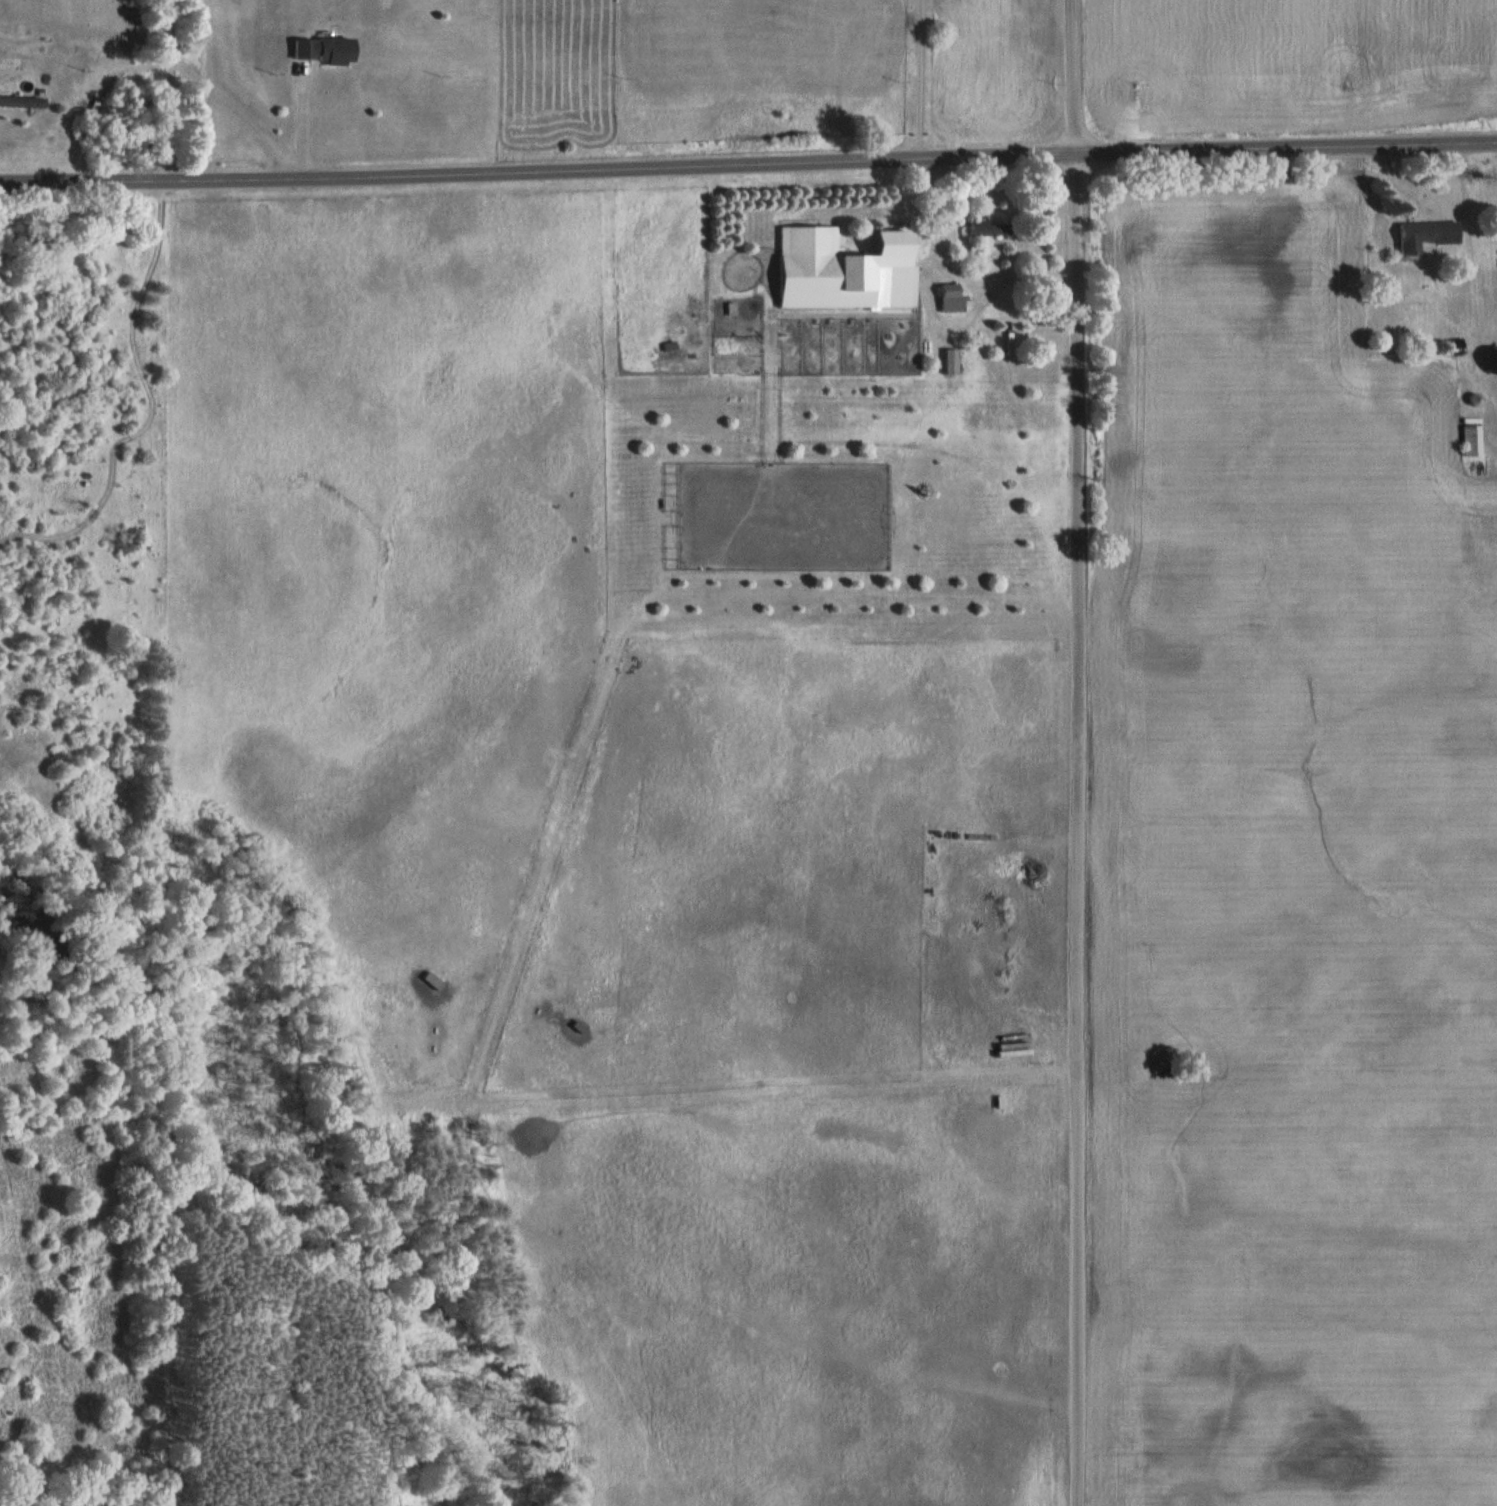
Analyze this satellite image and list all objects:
building: (312, 52)
building: (17, 104)
road: (299, 120)
road: (748, 165)
building: (972, 230)
building: (1419, 237)
building: (838, 272)
building: (945, 300)
building: (1490, 363)
building: (1468, 442)
road: (1075, 752)

